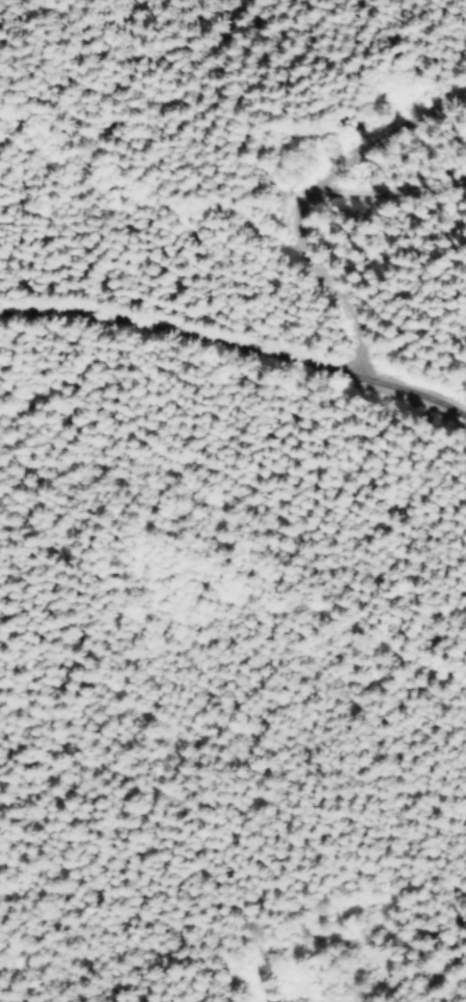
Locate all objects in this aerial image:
road: (290, 183)
road: (242, 349)

